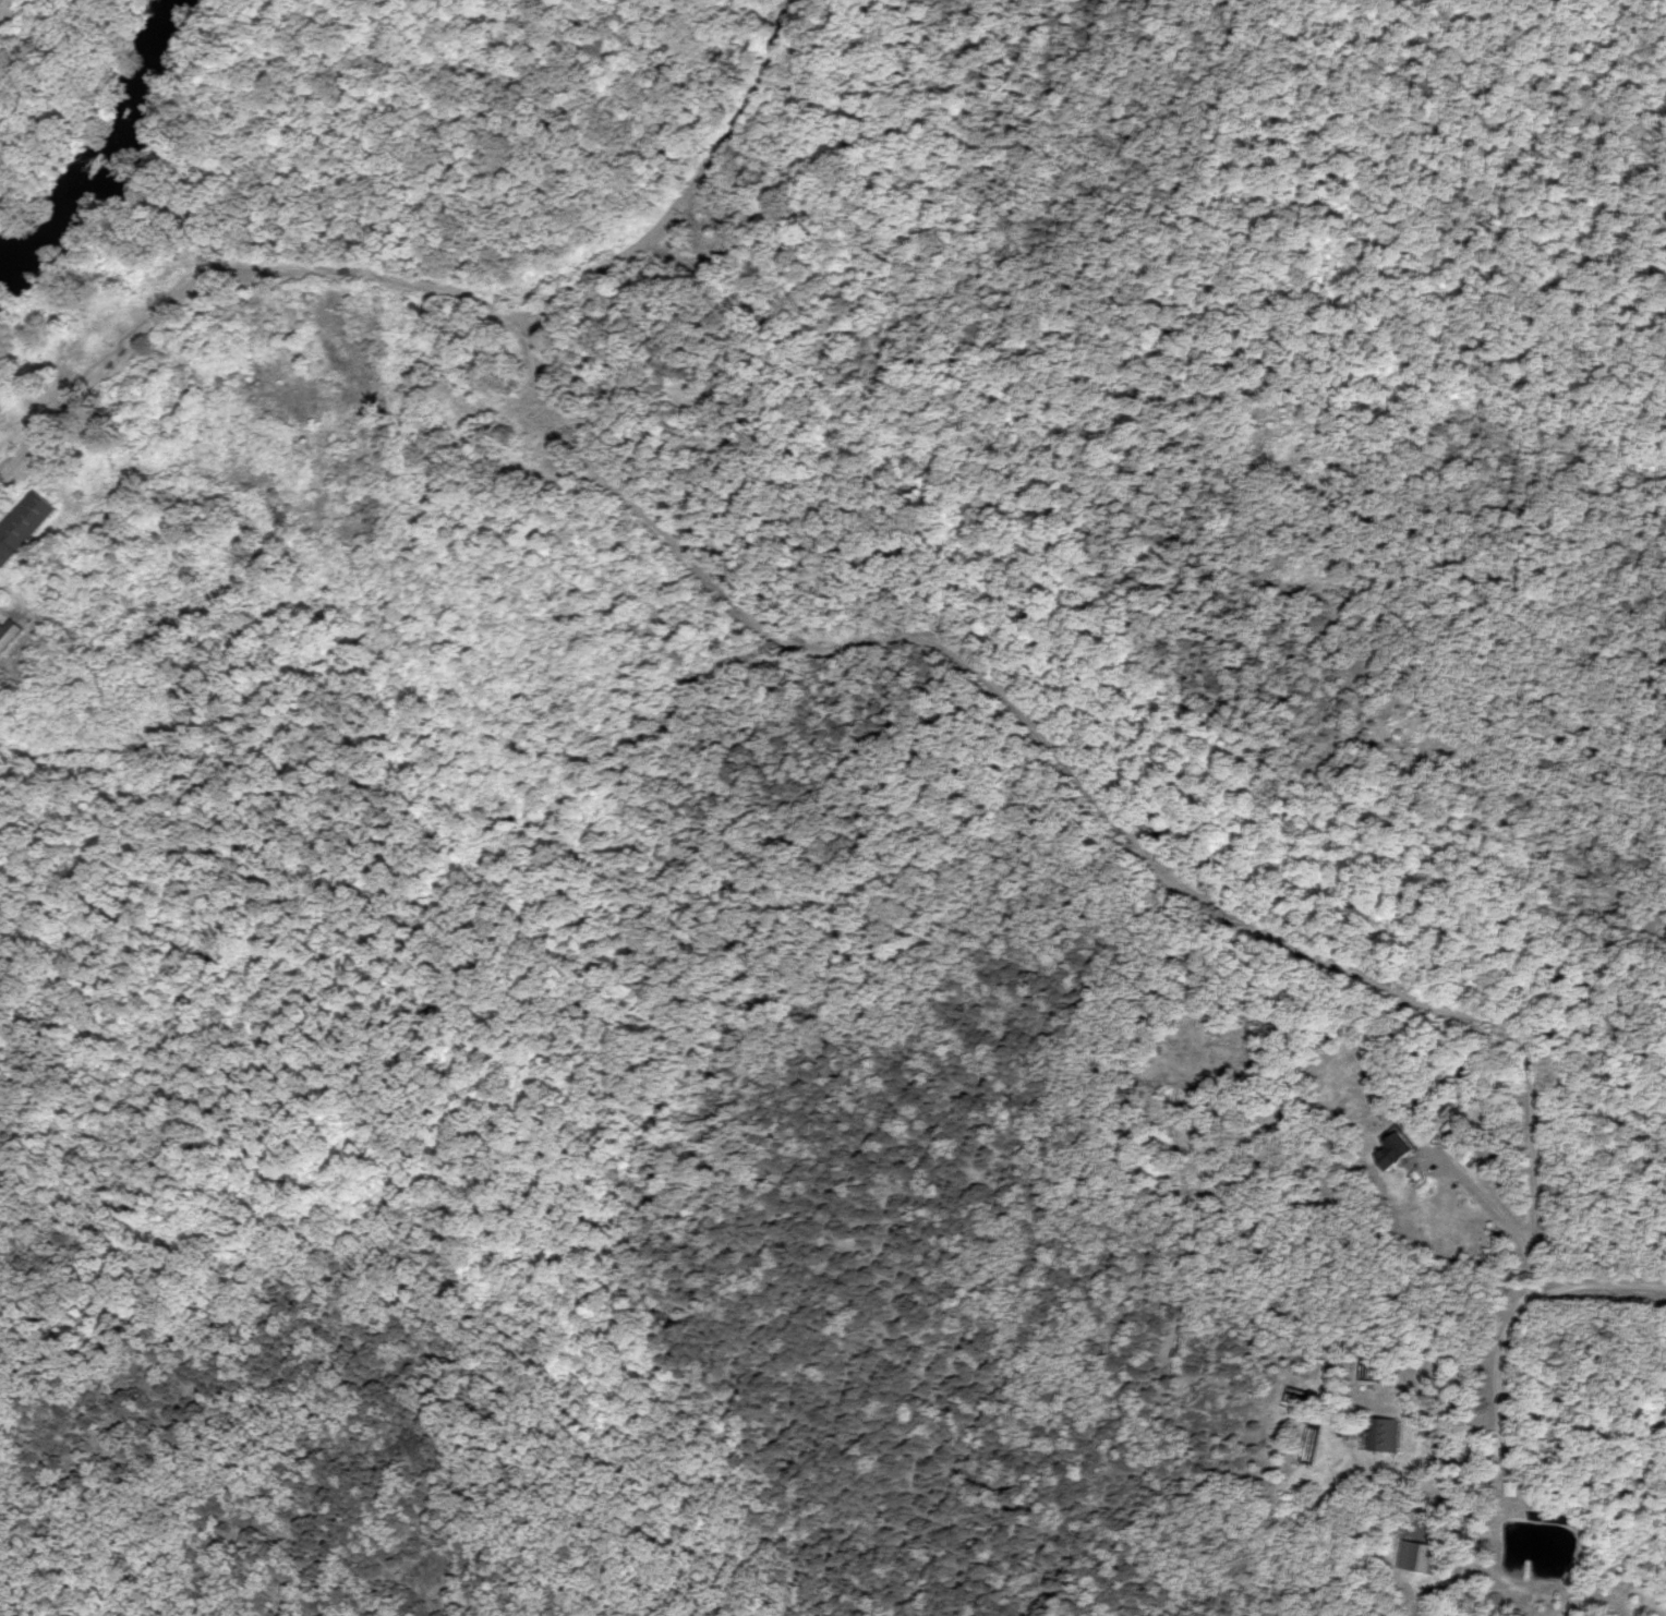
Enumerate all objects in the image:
river: (123, 161)
building: (22, 526)
building: (9, 635)
building: (1396, 1148)
road: (1504, 1337)
building: (1385, 1436)

